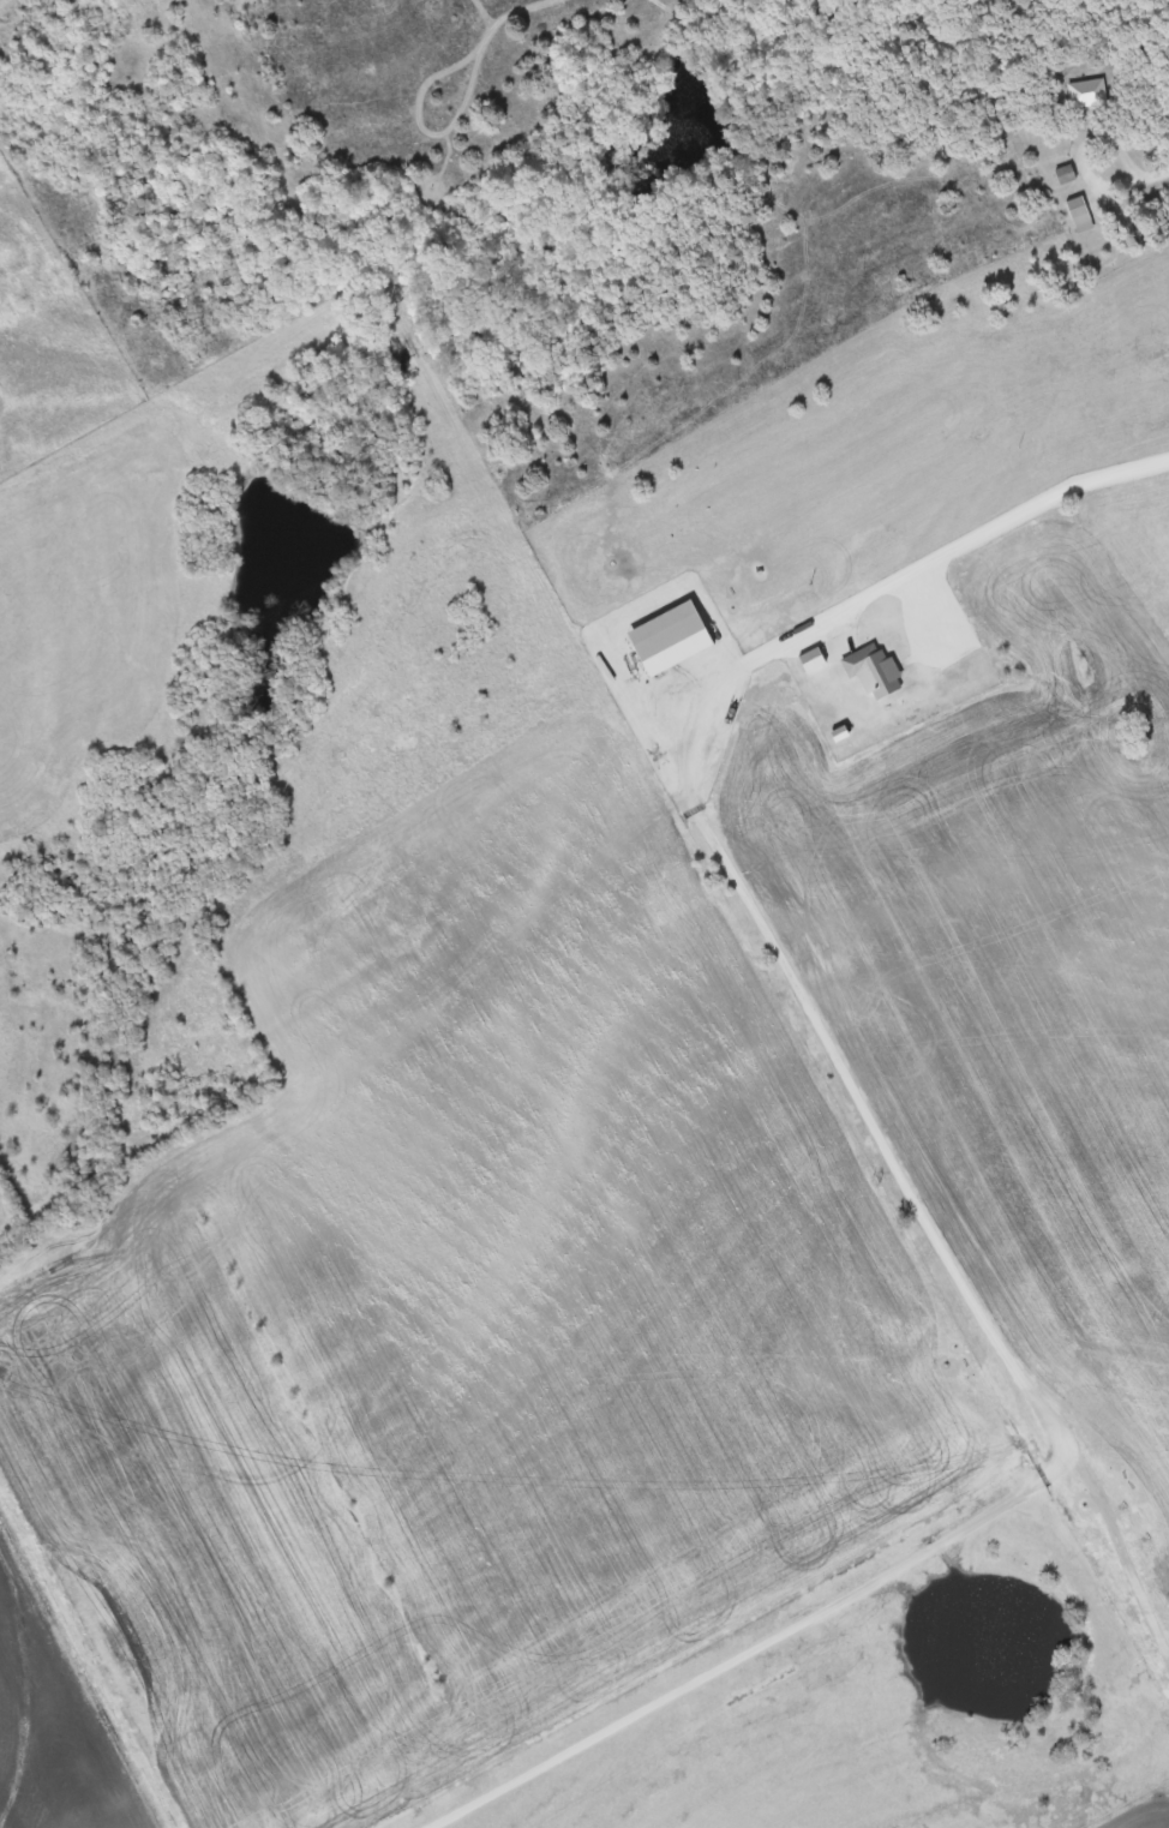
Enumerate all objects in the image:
building: (1086, 91)
building: (1067, 172)
building: (1080, 212)
road: (955, 562)

